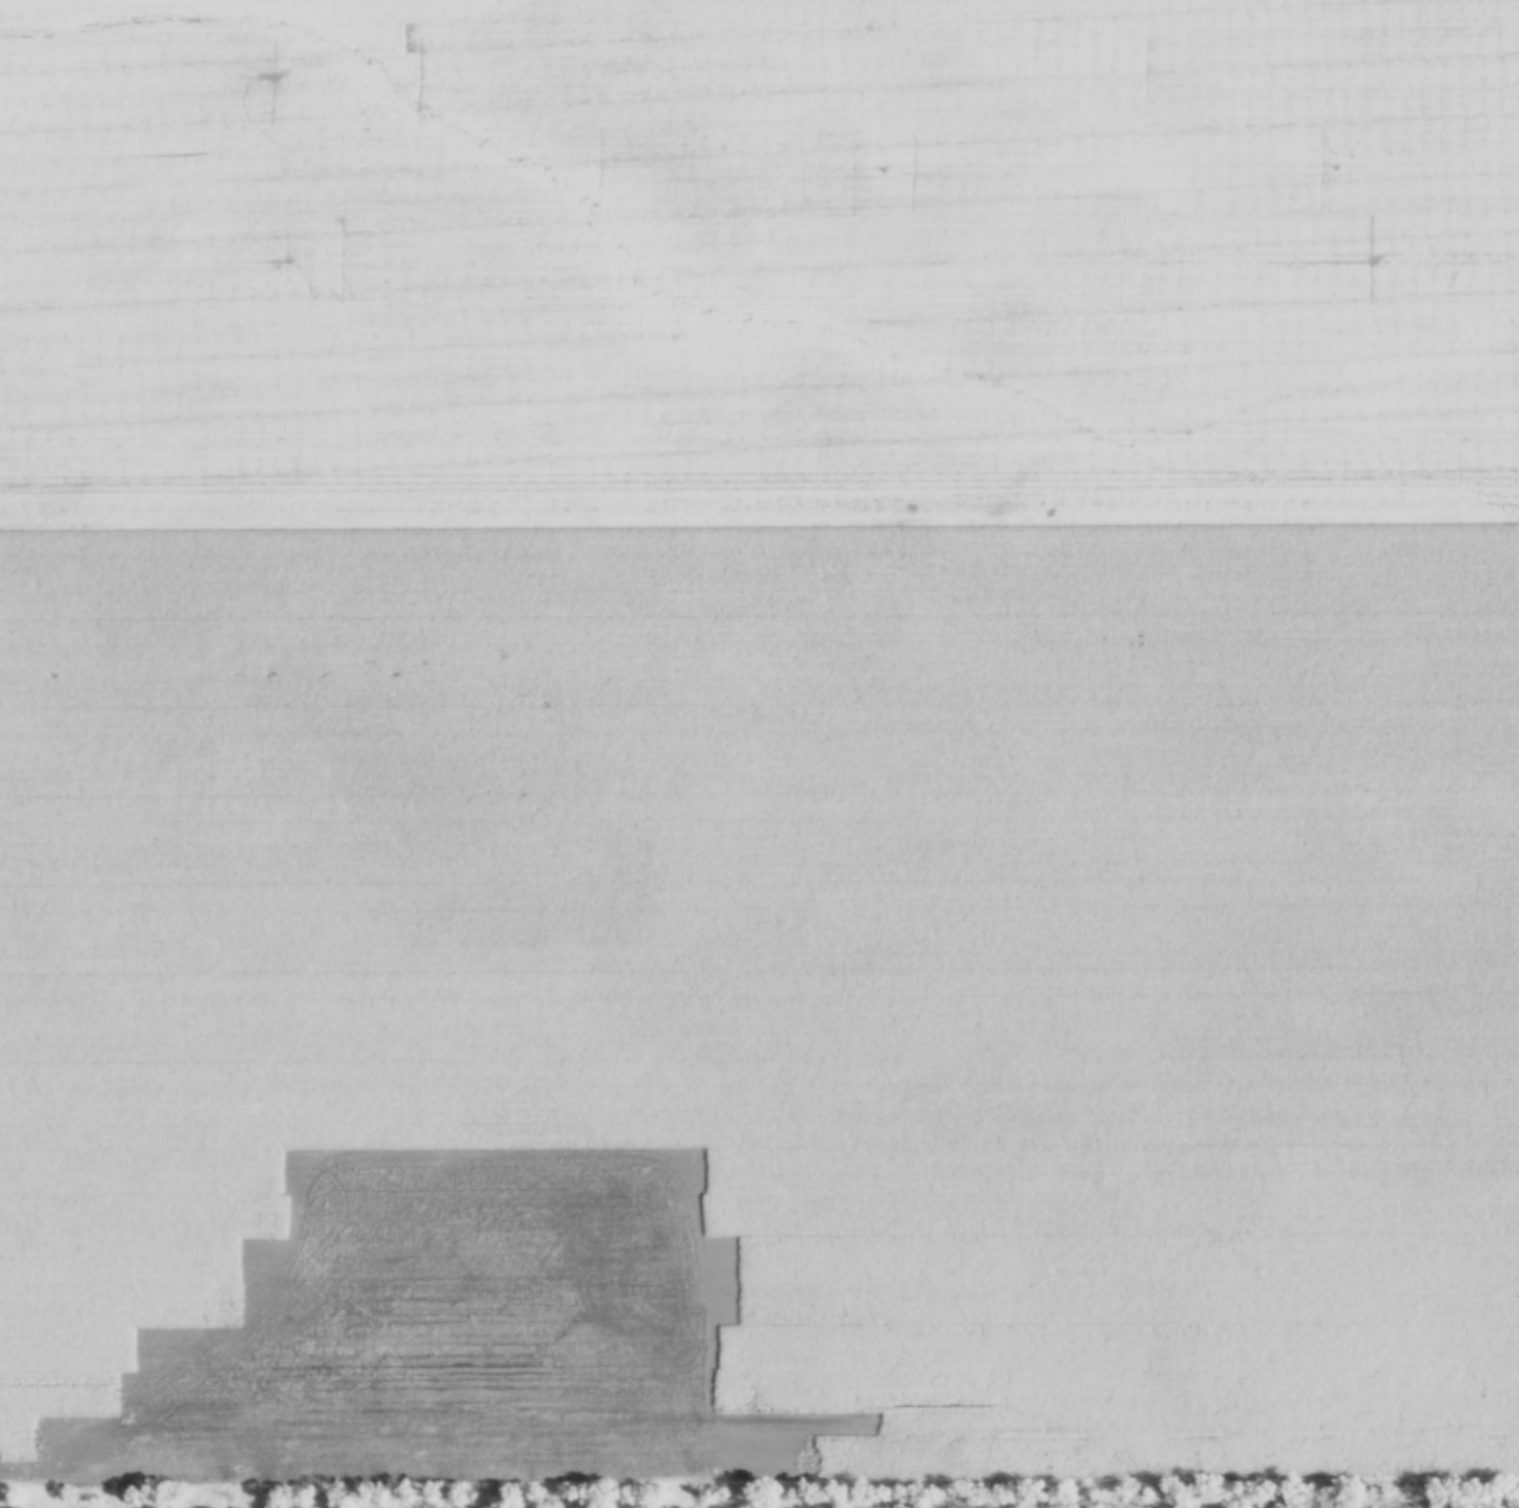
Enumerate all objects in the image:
crop: (759, 736)

